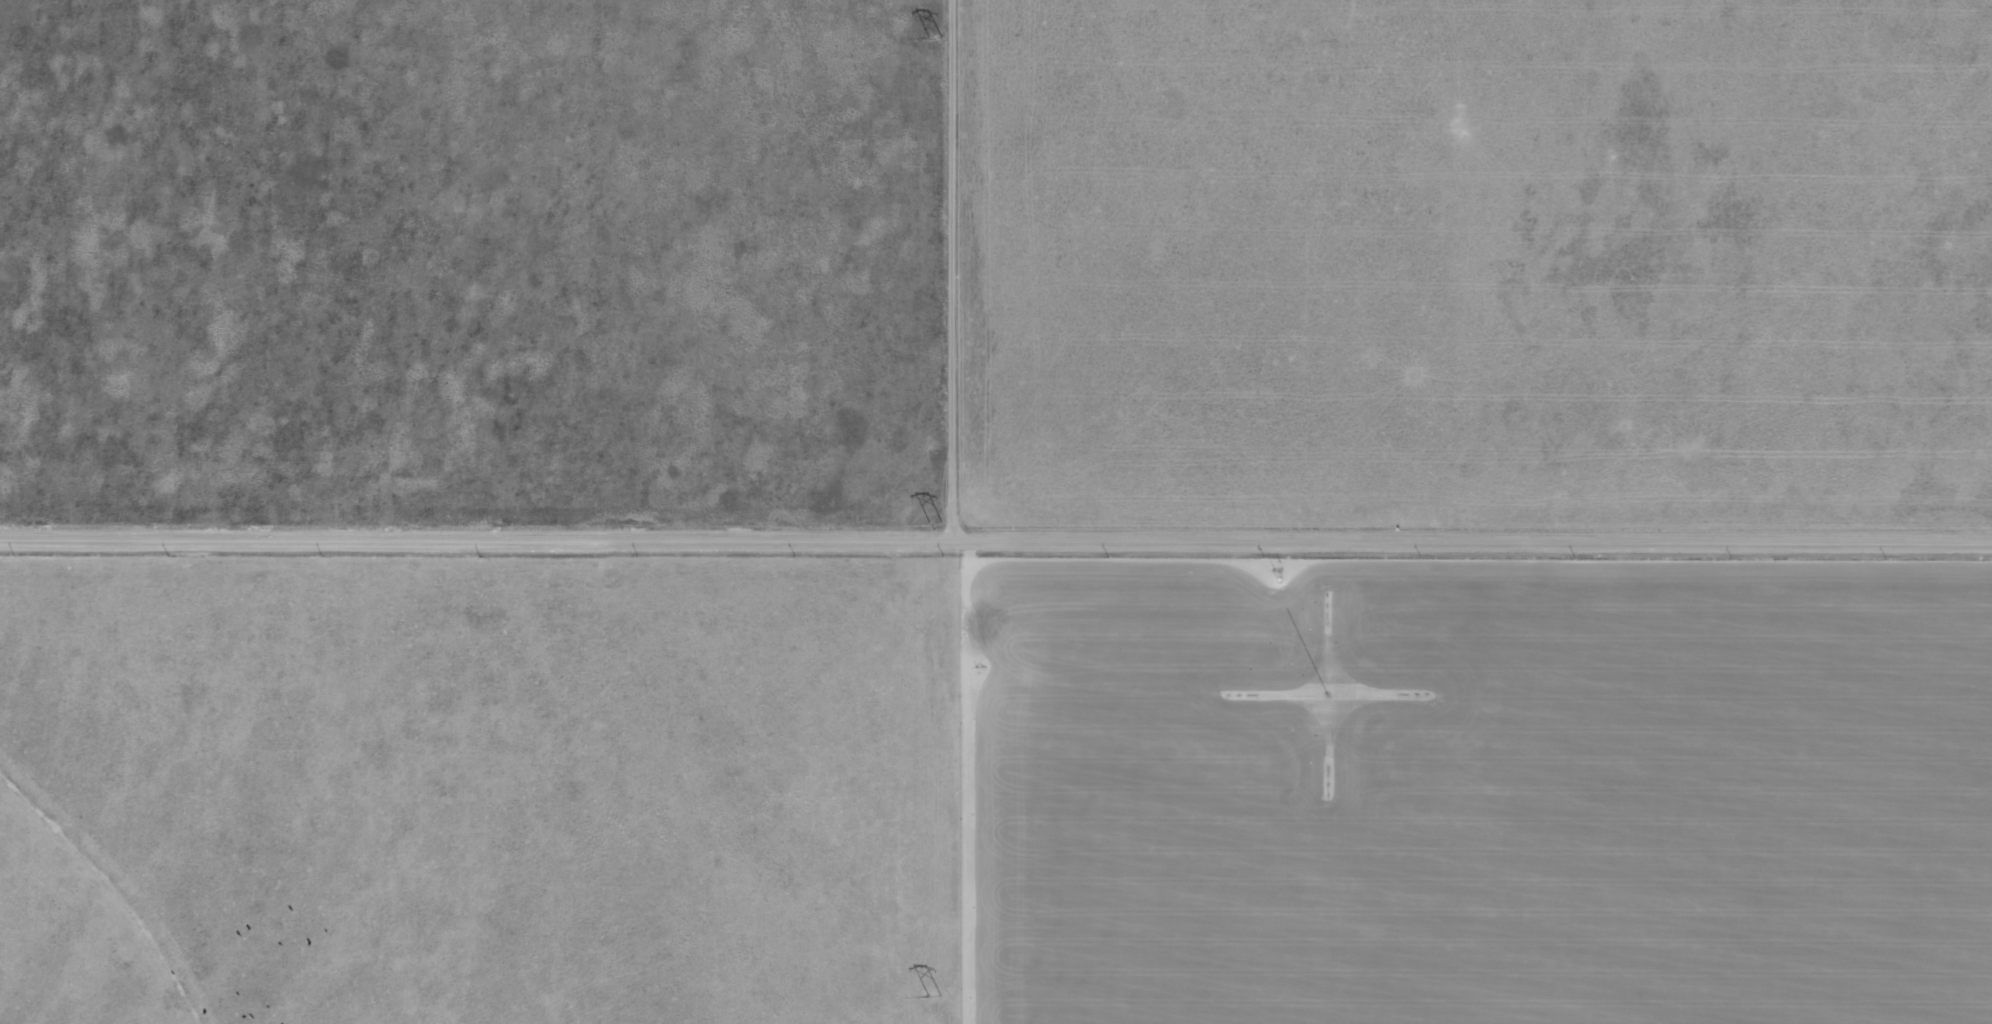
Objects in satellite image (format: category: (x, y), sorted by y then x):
power tower: (936, 38)
road: (956, 512)
power tower: (933, 526)
road: (996, 542)
power tower: (935, 995)

